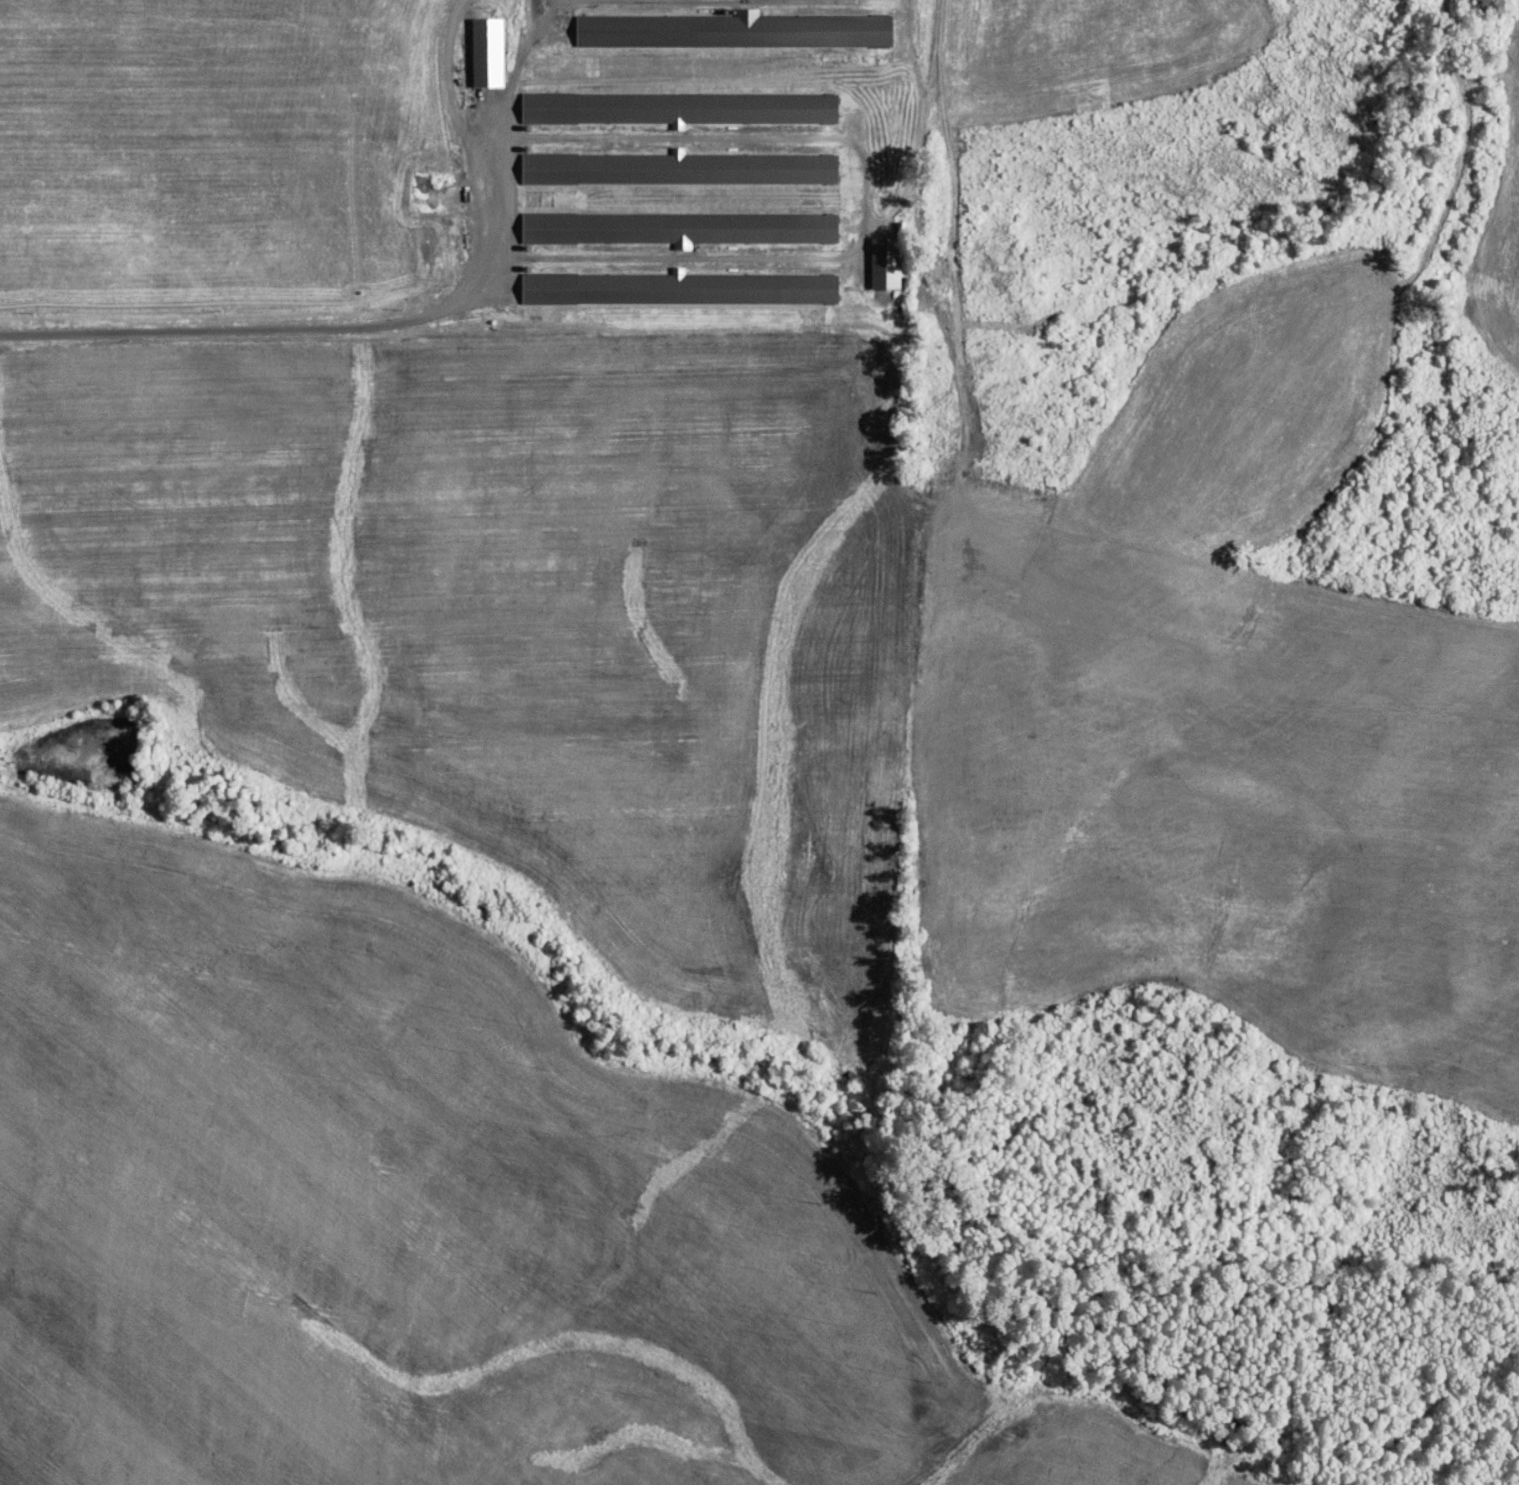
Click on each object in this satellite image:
building: (733, 30)
building: (486, 51)
building: (677, 108)
building: (679, 168)
building: (678, 228)
building: (884, 263)
building: (679, 288)
road: (326, 327)

